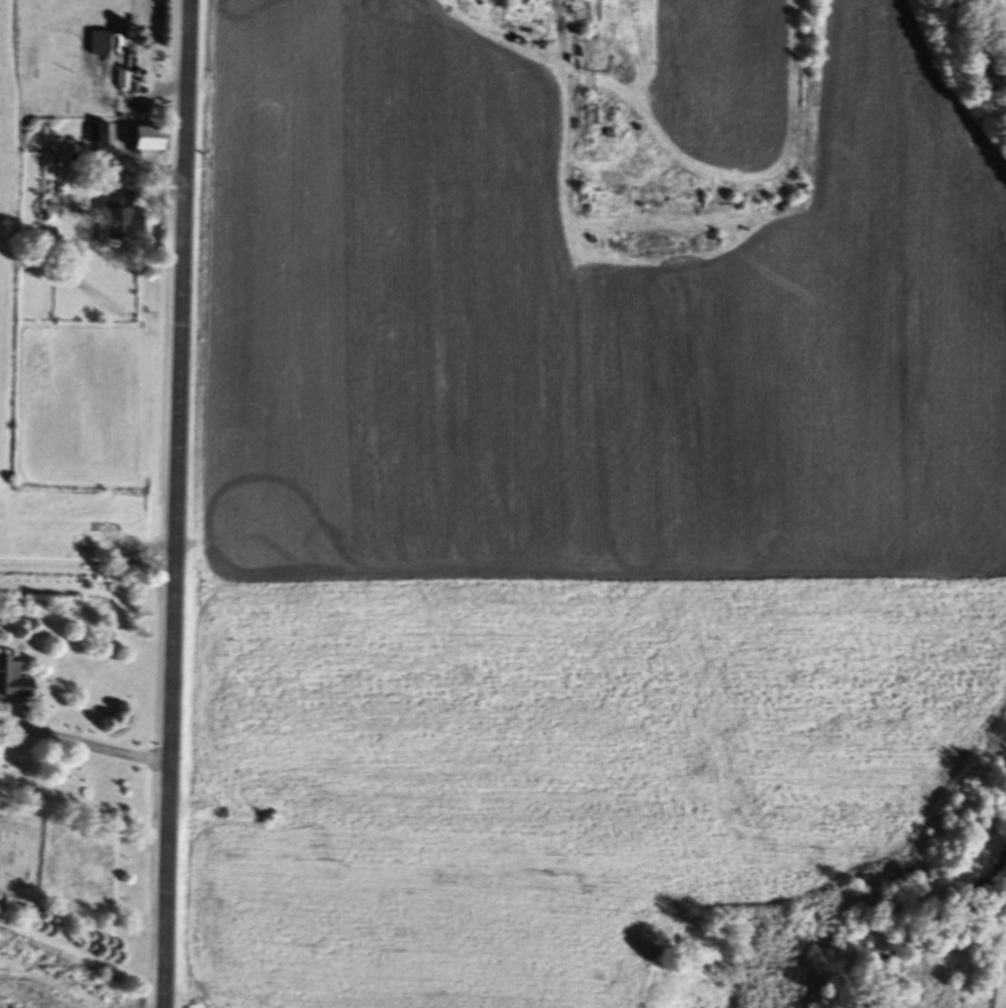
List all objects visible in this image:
building: (108, 45)
building: (123, 82)
building: (100, 138)
building: (151, 141)
building: (122, 221)
road: (179, 504)
building: (15, 679)
road: (83, 744)

